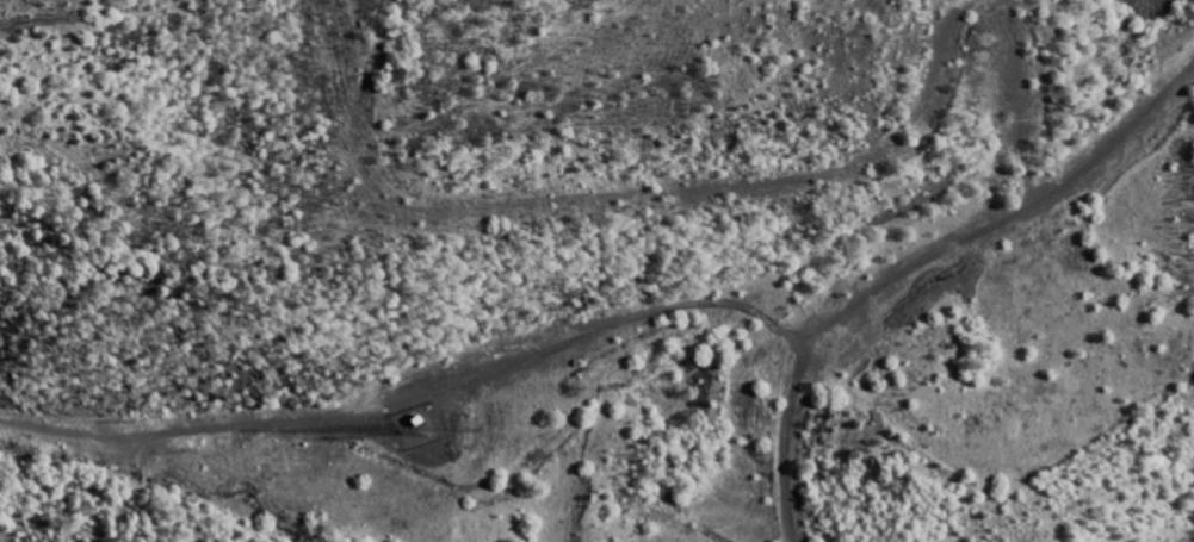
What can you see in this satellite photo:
road: (922, 264)

